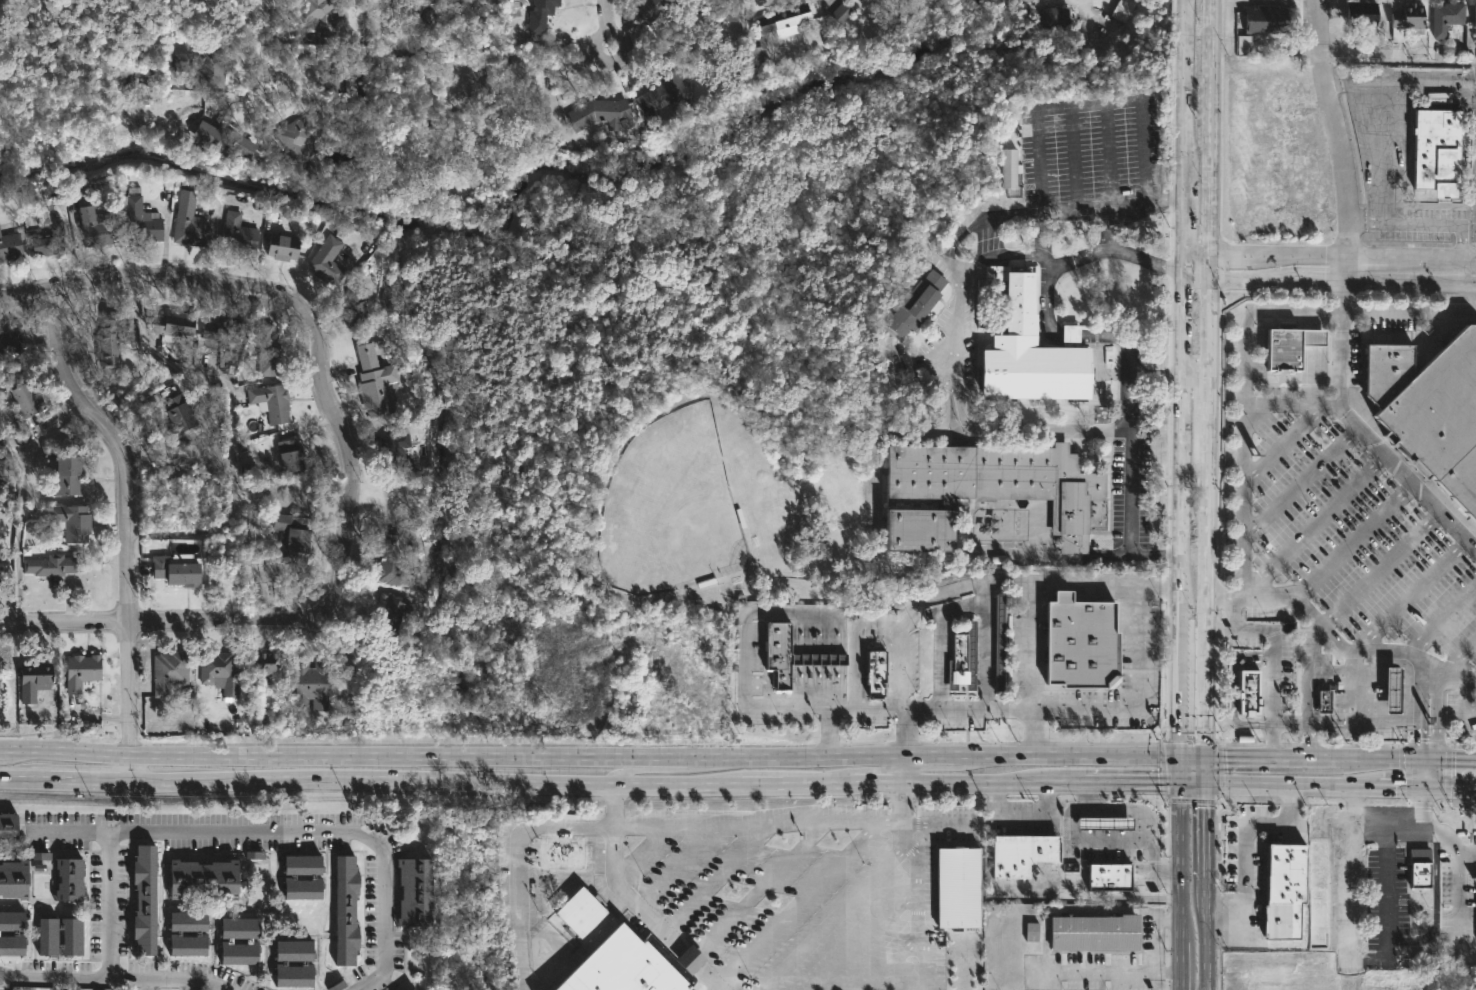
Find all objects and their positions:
building: (718, 8)
building: (651, 9)
building: (840, 12)
building: (1363, 13)
building: (540, 14)
building: (321, 16)
building: (1448, 16)
building: (1048, 17)
building: (1267, 19)
building: (787, 20)
building: (1408, 21)
building: (1475, 21)
road: (609, 23)
road: (265, 41)
building: (757, 56)
road: (1397, 61)
building: (183, 62)
building: (209, 63)
building: (335, 75)
building: (669, 92)
road: (1095, 104)
building: (347, 109)
building: (600, 113)
road: (1209, 125)
road: (1335, 131)
building: (297, 136)
building: (223, 138)
building: (1432, 148)
road: (1109, 157)
road: (1074, 159)
parking lot: (1094, 164)
building: (1012, 168)
road: (1183, 191)
road: (1165, 199)
road: (985, 216)
building: (141, 218)
building: (190, 222)
road: (1424, 223)
building: (98, 227)
building: (238, 234)
building: (51, 240)
building: (284, 245)
building: (10, 246)
road: (1196, 250)
road: (1226, 250)
road: (1294, 250)
road: (1003, 255)
road: (1084, 256)
building: (327, 261)
road: (1209, 264)
road: (1409, 267)
road: (1326, 269)
road: (1259, 276)
road: (1196, 278)
road: (1341, 288)
building: (918, 302)
building: (355, 309)
building: (174, 325)
building: (223, 329)
road: (1208, 330)
road: (1068, 333)
road: (1121, 339)
building: (10, 340)
building: (108, 340)
building: (1296, 347)
building: (1029, 348)
building: (268, 351)
road: (1244, 357)
building: (1385, 369)
road: (1159, 381)
building: (376, 382)
road: (1195, 383)
road: (336, 398)
building: (25, 401)
building: (271, 402)
road: (1291, 402)
road: (1133, 403)
building: (178, 415)
building: (1439, 418)
road: (230, 420)
road: (968, 421)
road: (1291, 438)
road: (1375, 442)
building: (394, 455)
building: (291, 456)
building: (4, 469)
building: (66, 477)
road: (1301, 480)
building: (984, 490)
road: (1132, 491)
parking lot: (1147, 495)
road: (20, 503)
building: (71, 522)
road: (129, 522)
road: (1314, 523)
building: (293, 537)
road: (1352, 537)
road: (1138, 554)
road: (875, 556)
building: (391, 561)
road: (1379, 564)
building: (48, 566)
building: (1, 569)
building: (177, 570)
road: (968, 582)
road: (1182, 582)
road: (1206, 582)
road: (1405, 593)
road: (1228, 613)
building: (391, 615)
road: (1441, 617)
road: (83, 621)
road: (937, 630)
building: (997, 642)
building: (1078, 642)
road: (1354, 649)
road: (985, 653)
building: (788, 654)
road: (1452, 655)
road: (746, 656)
building: (963, 661)
building: (264, 662)
road: (1276, 662)
road: (853, 668)
road: (1029, 668)
building: (219, 671)
building: (82, 672)
building: (169, 672)
building: (872, 673)
building: (35, 680)
building: (311, 685)
road: (1310, 685)
road: (1422, 685)
road: (1232, 689)
building: (1392, 689)
building: (1246, 692)
building: (1323, 701)
road: (1082, 708)
road: (1436, 716)
road: (826, 718)
road: (1364, 721)
road: (1419, 728)
traffic signals: (1419, 738)
road: (602, 755)
traffic signals: (1181, 757)
traffic signals: (1205, 757)
road: (1263, 757)
road: (1331, 759)
road: (1382, 759)
road: (662, 760)
road: (1450, 760)
traffic signals: (1454, 761)
road: (903, 767)
road: (1424, 773)
road: (542, 779)
road: (1133, 782)
traffic signals: (1181, 782)
traffic signals: (1205, 783)
road: (1328, 784)
traffic signals: (1395, 786)
road: (1348, 807)
road: (1422, 807)
traffic signals: (1422, 810)
road: (1141, 817)
road: (1022, 818)
building: (8, 823)
building: (1101, 823)
gas station: (1101, 823)
road: (939, 825)
road: (653, 828)
road: (293, 831)
road: (1205, 832)
road: (520, 841)
road: (1083, 843)
road: (639, 852)
road: (1467, 852)
building: (564, 853)
building: (40, 856)
building: (1019, 856)
road: (1243, 857)
building: (305, 863)
building: (1422, 866)
road: (675, 868)
building: (14, 877)
building: (70, 877)
building: (1108, 877)
building: (204, 878)
road: (1459, 879)
building: (1473, 879)
road: (715, 880)
building: (305, 886)
road: (1181, 886)
building: (957, 887)
building: (417, 889)
building: (1318, 891)
road: (754, 893)
road: (855, 893)
road: (1096, 897)
building: (143, 898)
road: (1347, 903)
road: (110, 904)
road: (796, 905)
road: (1435, 906)
building: (348, 909)
building: (580, 912)
road: (918, 913)
road: (1387, 914)
building: (12, 920)
building: (1279, 920)
building: (190, 921)
building: (241, 927)
road: (1151, 931)
building: (48, 934)
building: (1091, 934)
building: (72, 935)
road: (1205, 935)
road: (867, 937)
building: (12, 943)
building: (190, 943)
building: (295, 949)
building: (241, 950)
road: (891, 962)
building: (630, 965)
building: (295, 972)
road: (1102, 972)
road: (113, 977)
road: (141, 984)
road: (186, 985)
building: (414, 989)

